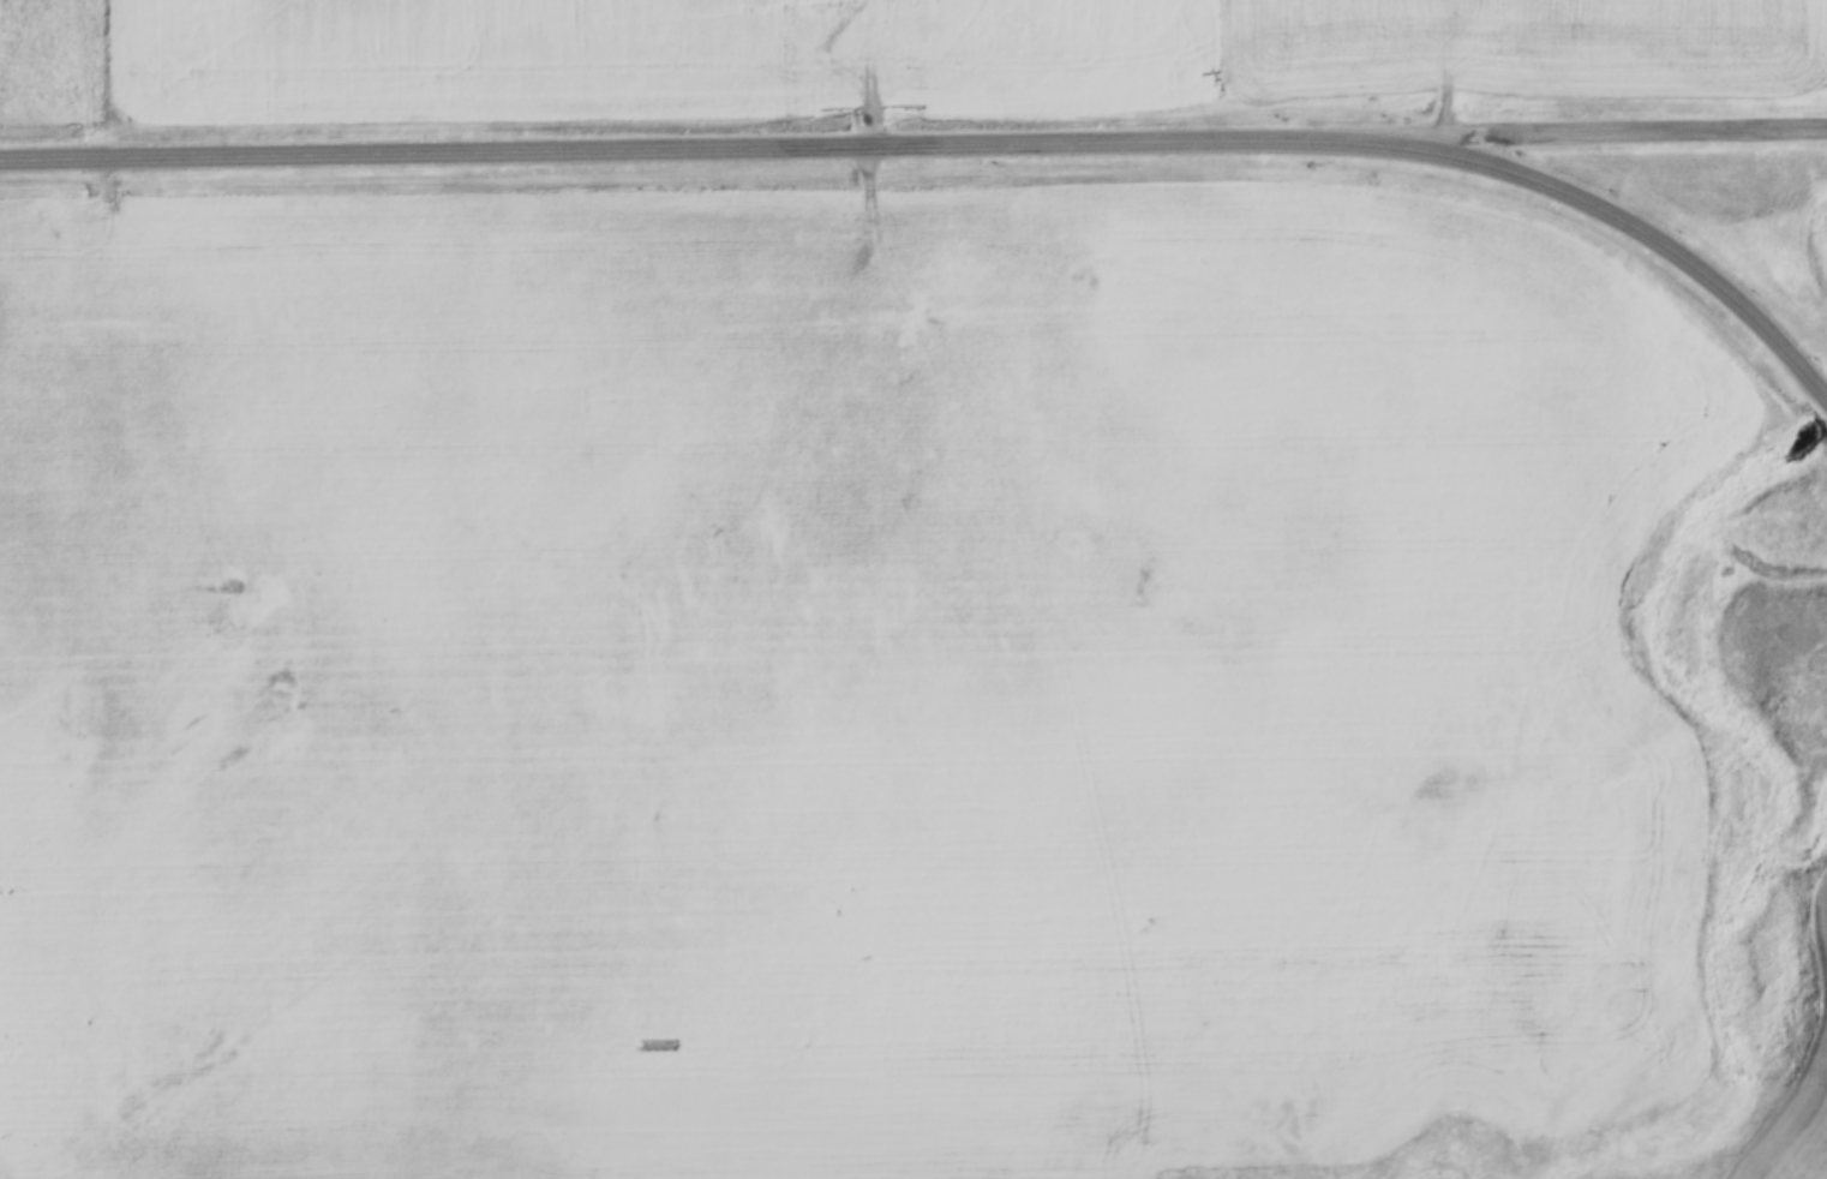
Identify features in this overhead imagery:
road: (1616, 143)
road: (702, 155)
road: (1640, 233)

